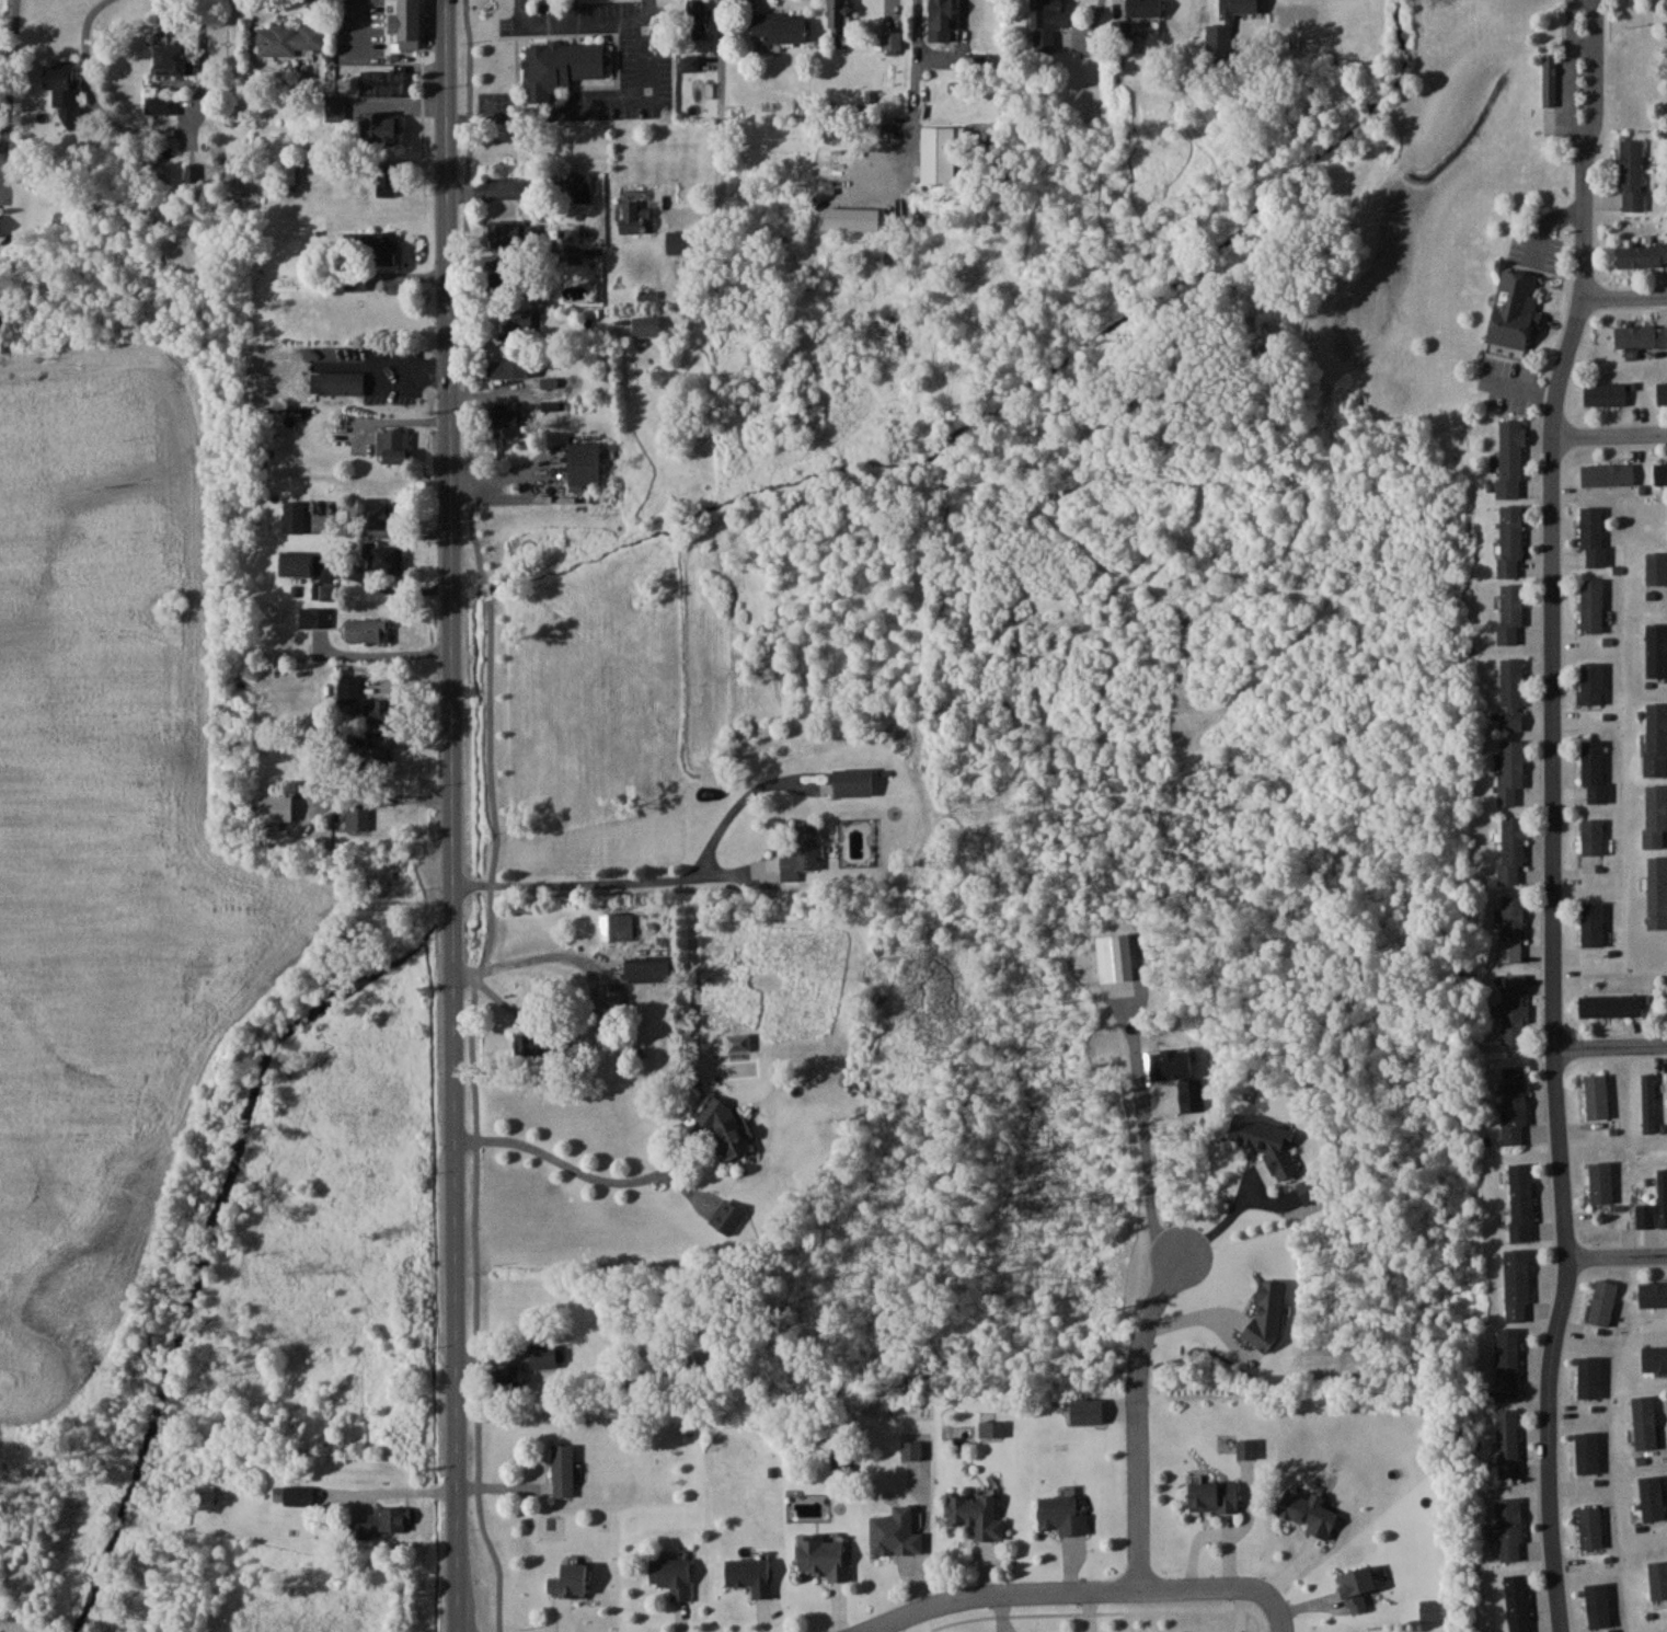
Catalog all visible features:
building: (1240, 7)
building: (941, 15)
building: (839, 18)
building: (697, 19)
building: (1130, 19)
road: (585, 22)
building: (407, 23)
building: (1046, 23)
building: (780, 27)
building: (290, 38)
building: (892, 39)
road: (958, 48)
building: (562, 57)
building: (173, 59)
road: (7, 66)
road: (911, 69)
building: (1550, 80)
building: (386, 81)
building: (66, 96)
road: (585, 103)
road: (720, 103)
building: (159, 106)
building: (381, 128)
road: (148, 129)
building: (939, 154)
building: (288, 170)
building: (1632, 174)
building: (387, 181)
building: (588, 185)
building: (634, 217)
building: (513, 234)
building: (680, 241)
building: (372, 246)
building: (1642, 255)
building: (355, 280)
building: (513, 280)
road: (1625, 292)
road: (470, 294)
building: (1515, 309)
building: (517, 320)
building: (646, 325)
building: (1640, 336)
building: (509, 368)
building: (338, 375)
building: (1662, 393)
building: (1605, 394)
building: (505, 423)
building: (340, 432)
road: (1613, 435)
road: (448, 440)
building: (393, 447)
building: (1510, 459)
building: (584, 462)
building: (1660, 473)
building: (1608, 474)
building: (377, 515)
building: (294, 517)
building: (1593, 537)
building: (1510, 541)
building: (383, 558)
building: (295, 563)
building: (1656, 568)
road: (386, 585)
building: (324, 591)
road: (492, 594)
building: (1591, 606)
building: (1510, 614)
building: (319, 617)
building: (367, 631)
building: (1656, 651)
road: (380, 655)
building: (1591, 682)
building: (1511, 693)
building: (383, 711)
building: (1656, 738)
building: (377, 760)
building: (1593, 768)
building: (1510, 770)
building: (853, 781)
building: (276, 807)
road: (1552, 815)
building: (1655, 815)
building: (357, 816)
building: (1590, 842)
building: (802, 849)
building: (1511, 850)
road: (647, 880)
building: (1656, 892)
building: (1593, 923)
building: (617, 926)
road: (450, 927)
building: (1511, 928)
road: (561, 955)
building: (648, 969)
building: (1609, 1005)
building: (1514, 1009)
building: (534, 1042)
road: (1608, 1043)
building: (1596, 1097)
building: (1647, 1103)
building: (1515, 1104)
road: (480, 1117)
building: (727, 1129)
road: (1145, 1131)
road: (573, 1166)
building: (1601, 1182)
building: (1521, 1202)
building: (726, 1216)
road: (1616, 1255)
building: (1517, 1285)
building: (1653, 1294)
road: (455, 1301)
building: (1654, 1357)
building: (1508, 1363)
building: (525, 1367)
road: (1141, 1415)
building: (1645, 1422)
building: (991, 1423)
building: (911, 1444)
building: (1508, 1444)
building: (1246, 1448)
building: (841, 1461)
building: (563, 1470)
building: (204, 1493)
road: (388, 1493)
building: (1214, 1495)
building: (298, 1497)
building: (973, 1505)
building: (1059, 1508)
building: (1309, 1512)
building: (379, 1521)
building: (892, 1525)
building: (1590, 1527)
building: (1509, 1528)
building: (820, 1552)
building: (747, 1567)
building: (669, 1568)
building: (571, 1581)
building: (1658, 1581)
road: (1056, 1590)
building: (1517, 1602)
road: (1107, 1606)
road: (1274, 1608)

